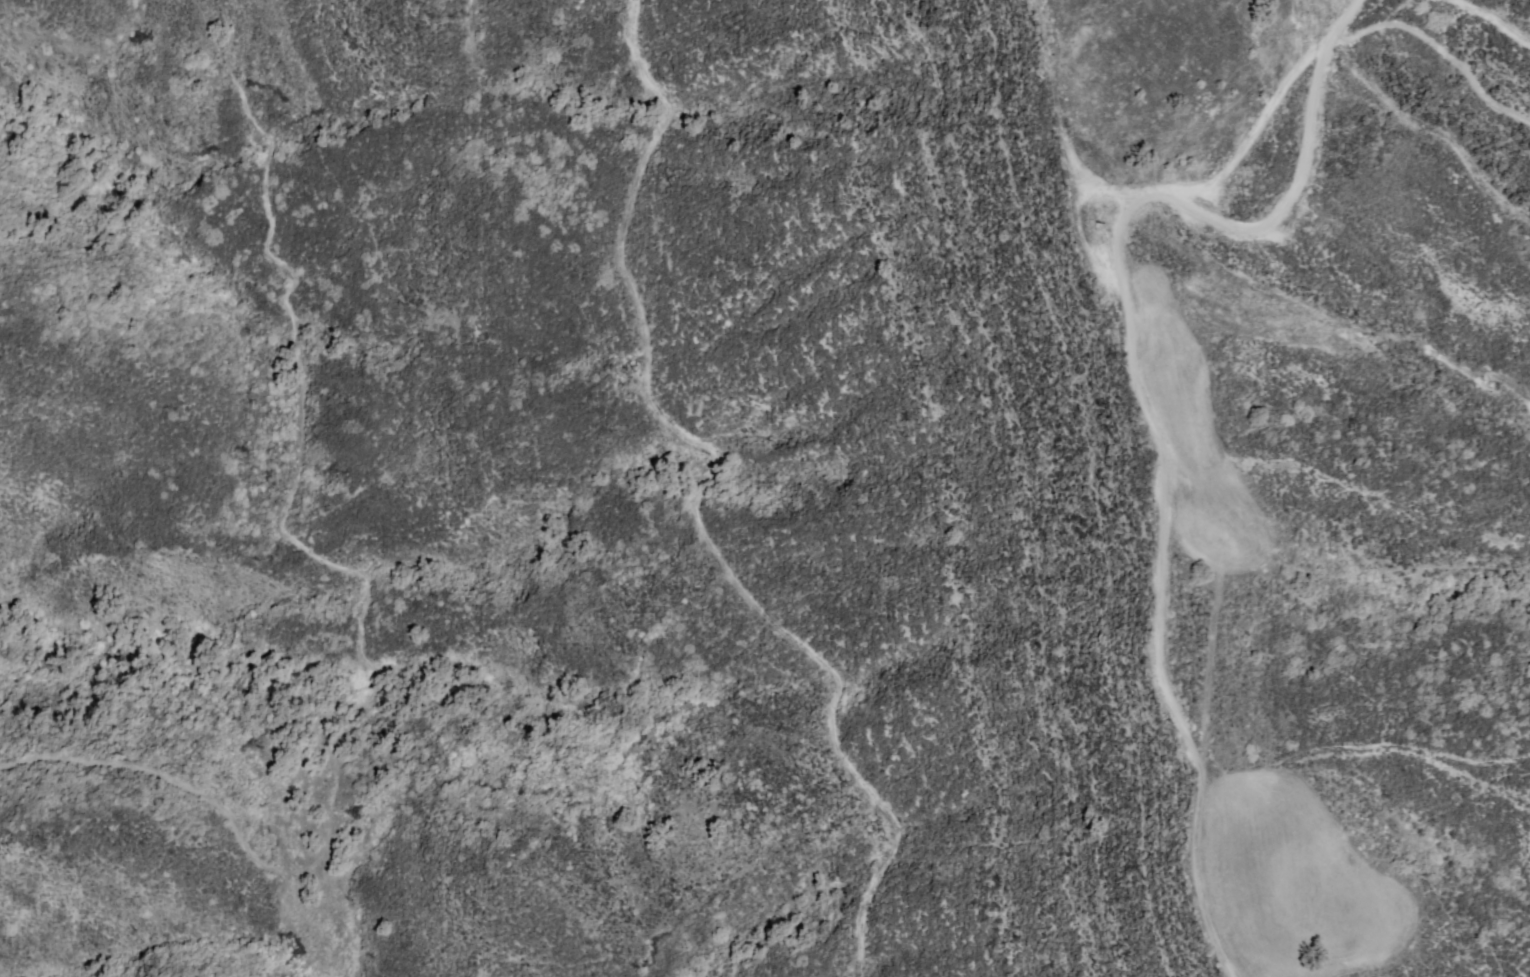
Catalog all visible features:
road: (1147, 427)

